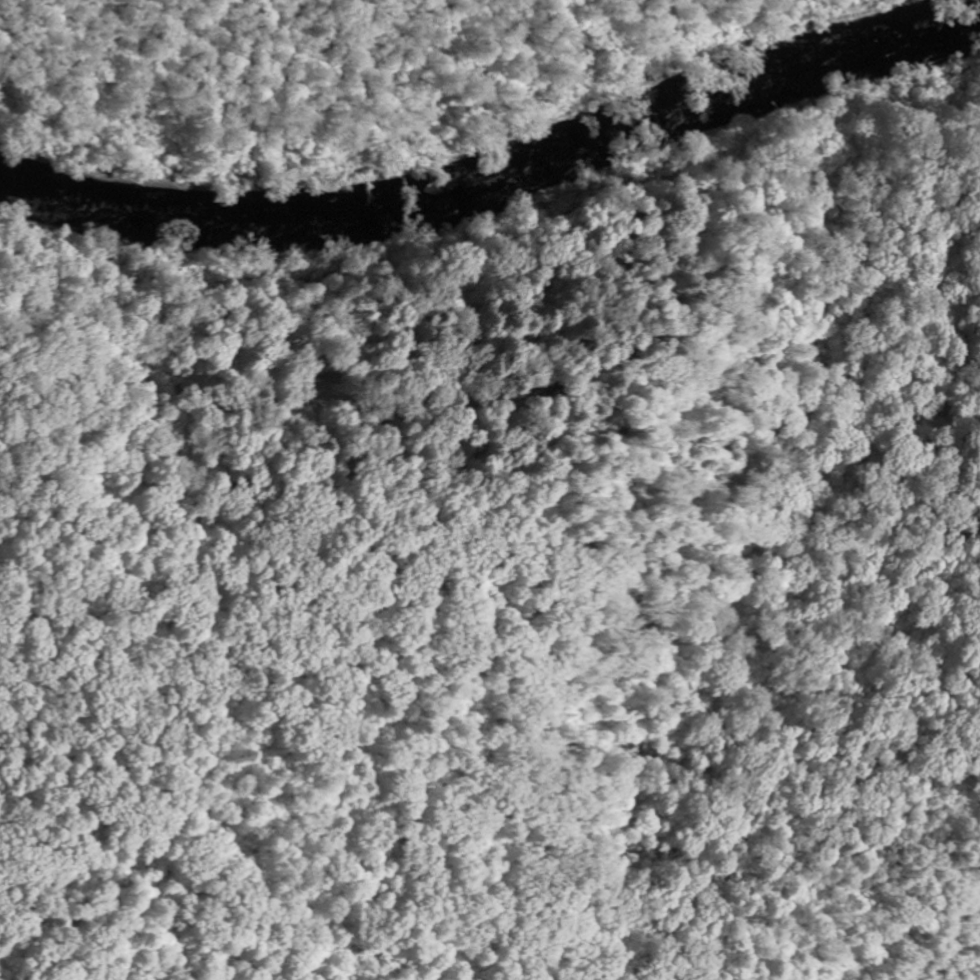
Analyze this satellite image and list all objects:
river: (498, 188)

